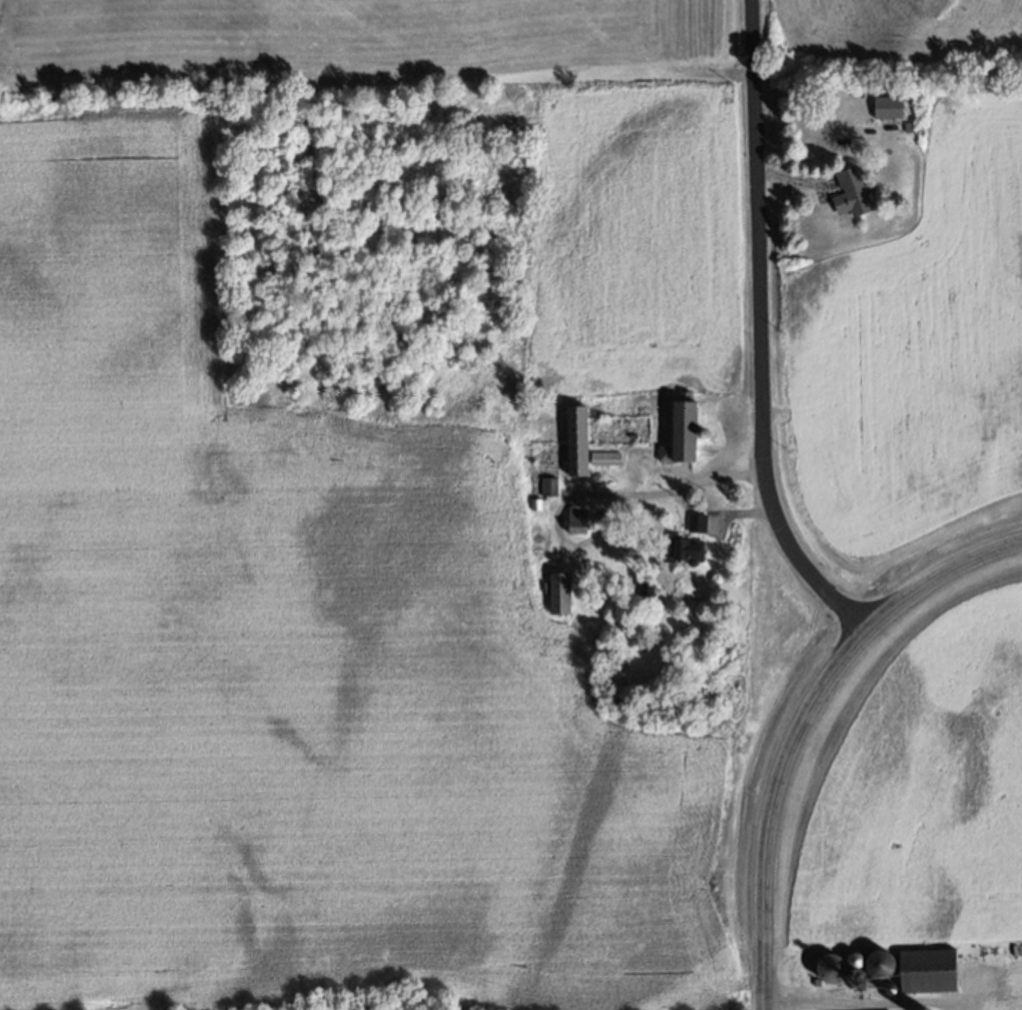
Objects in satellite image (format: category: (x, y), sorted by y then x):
building: (889, 107)
building: (910, 126)
building: (852, 193)
road: (760, 333)
building: (684, 432)
building: (578, 440)
building: (607, 457)
building: (550, 486)
building: (538, 504)
building: (579, 520)
building: (699, 524)
building: (683, 551)
building: (657, 563)
road: (938, 577)
building: (647, 589)
building: (561, 594)
road: (774, 809)
building: (879, 960)
building: (932, 964)
building: (832, 968)
building: (818, 979)
building: (877, 1009)

